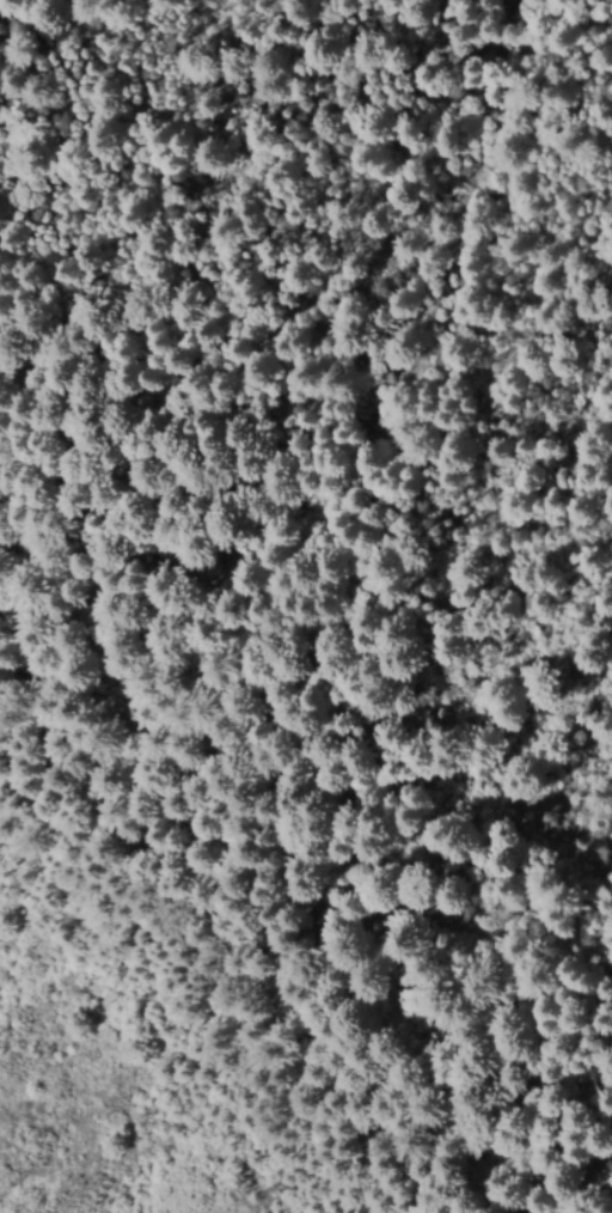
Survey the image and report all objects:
road: (265, 803)

